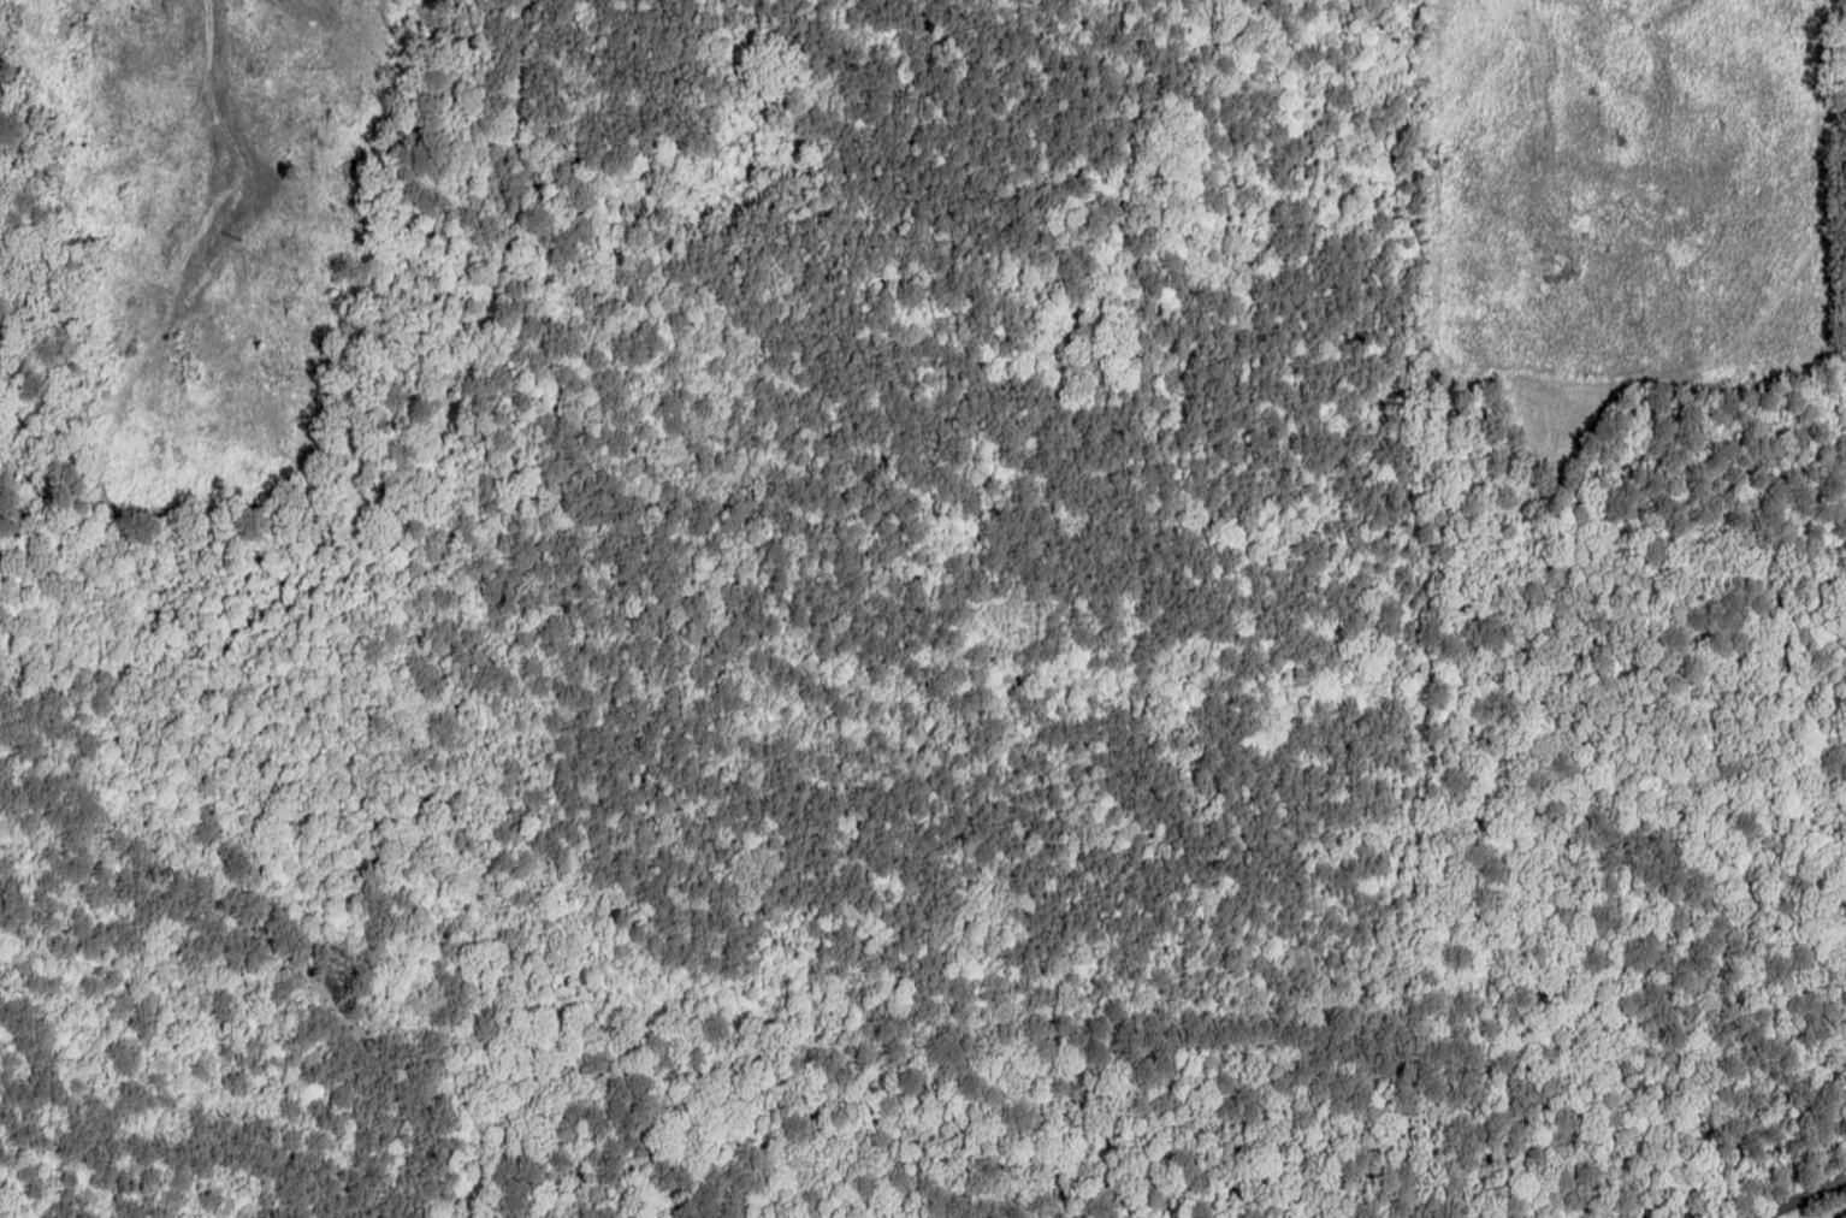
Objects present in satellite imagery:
road: (1798, 1196)

